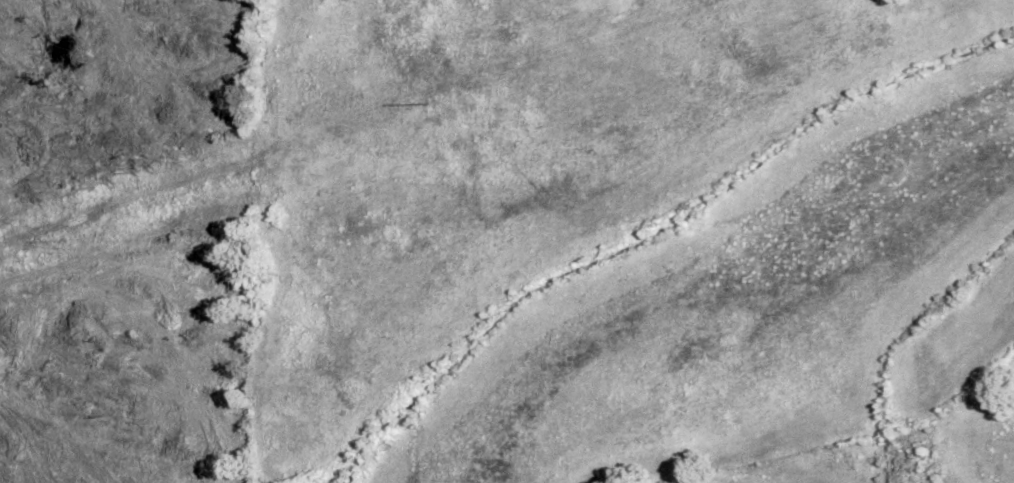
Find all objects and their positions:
power tower: (429, 104)

